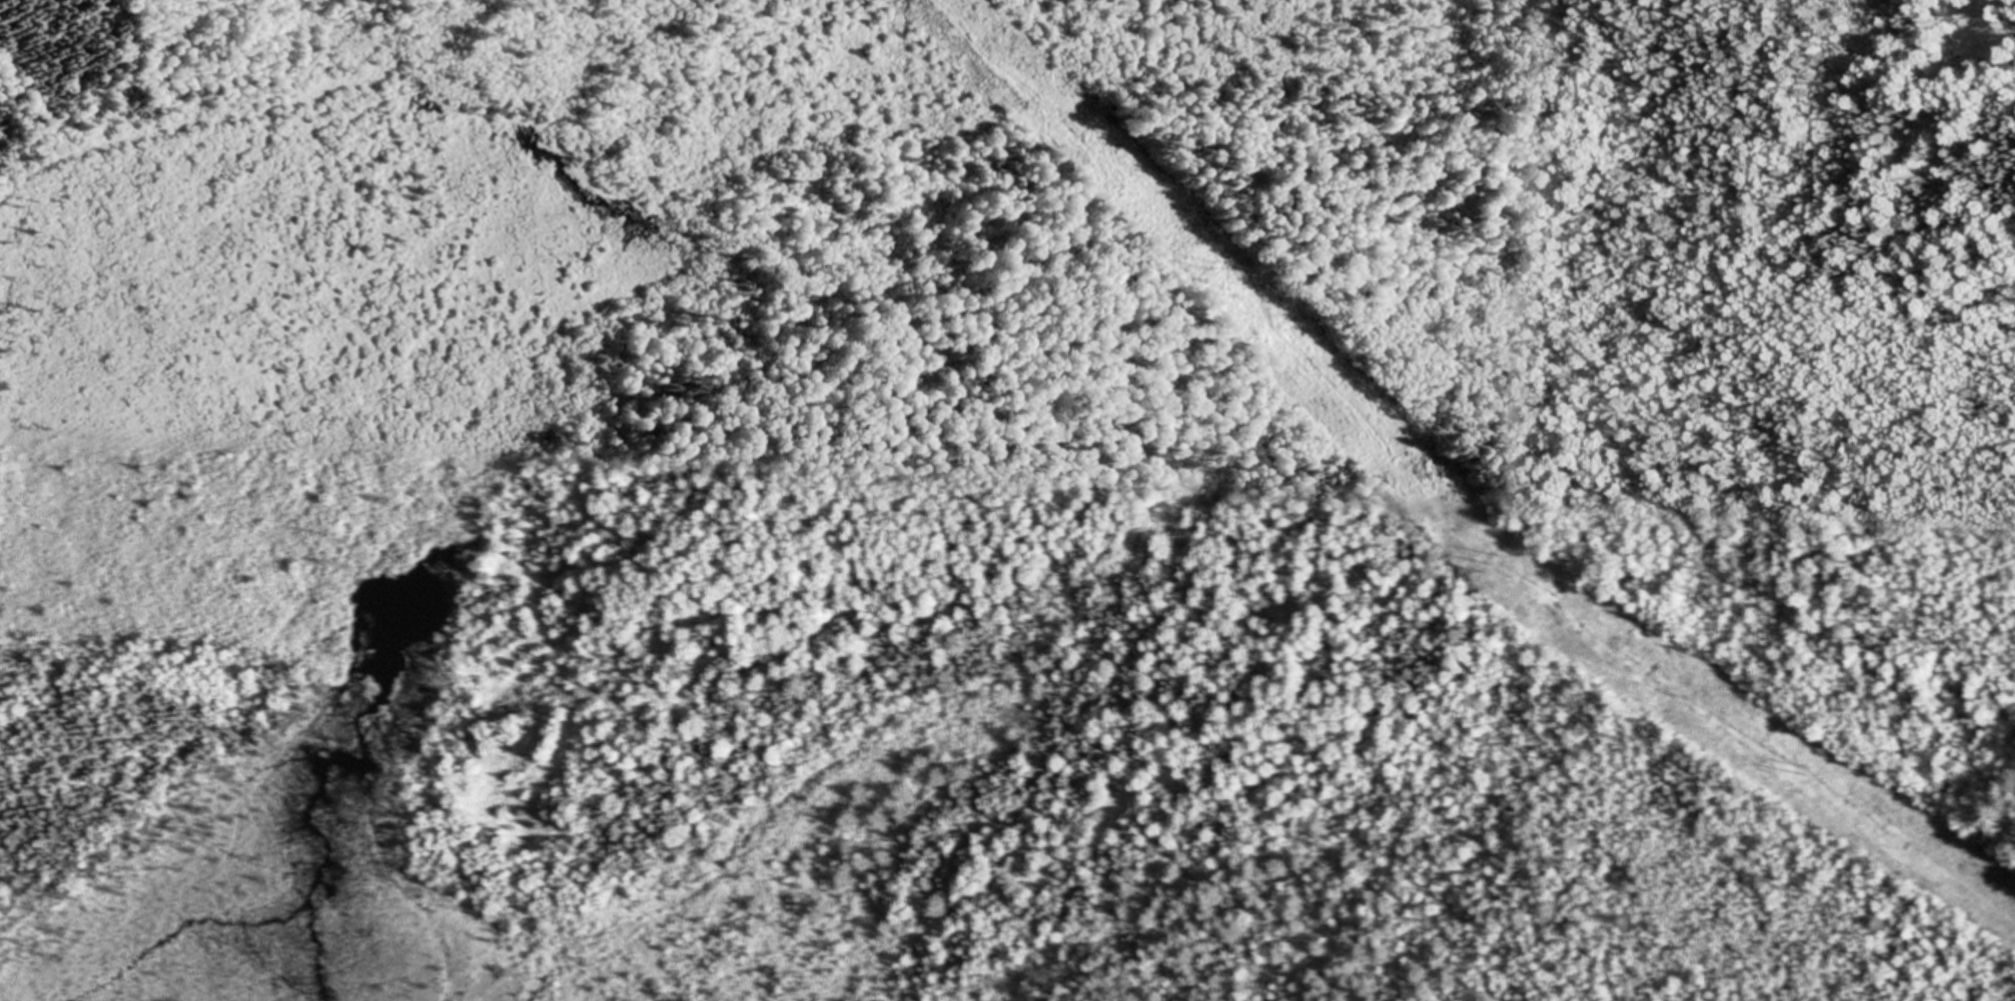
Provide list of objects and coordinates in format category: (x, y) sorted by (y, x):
power tower: (1206, 267)
power tower: (1491, 564)
power tower: (1807, 770)

